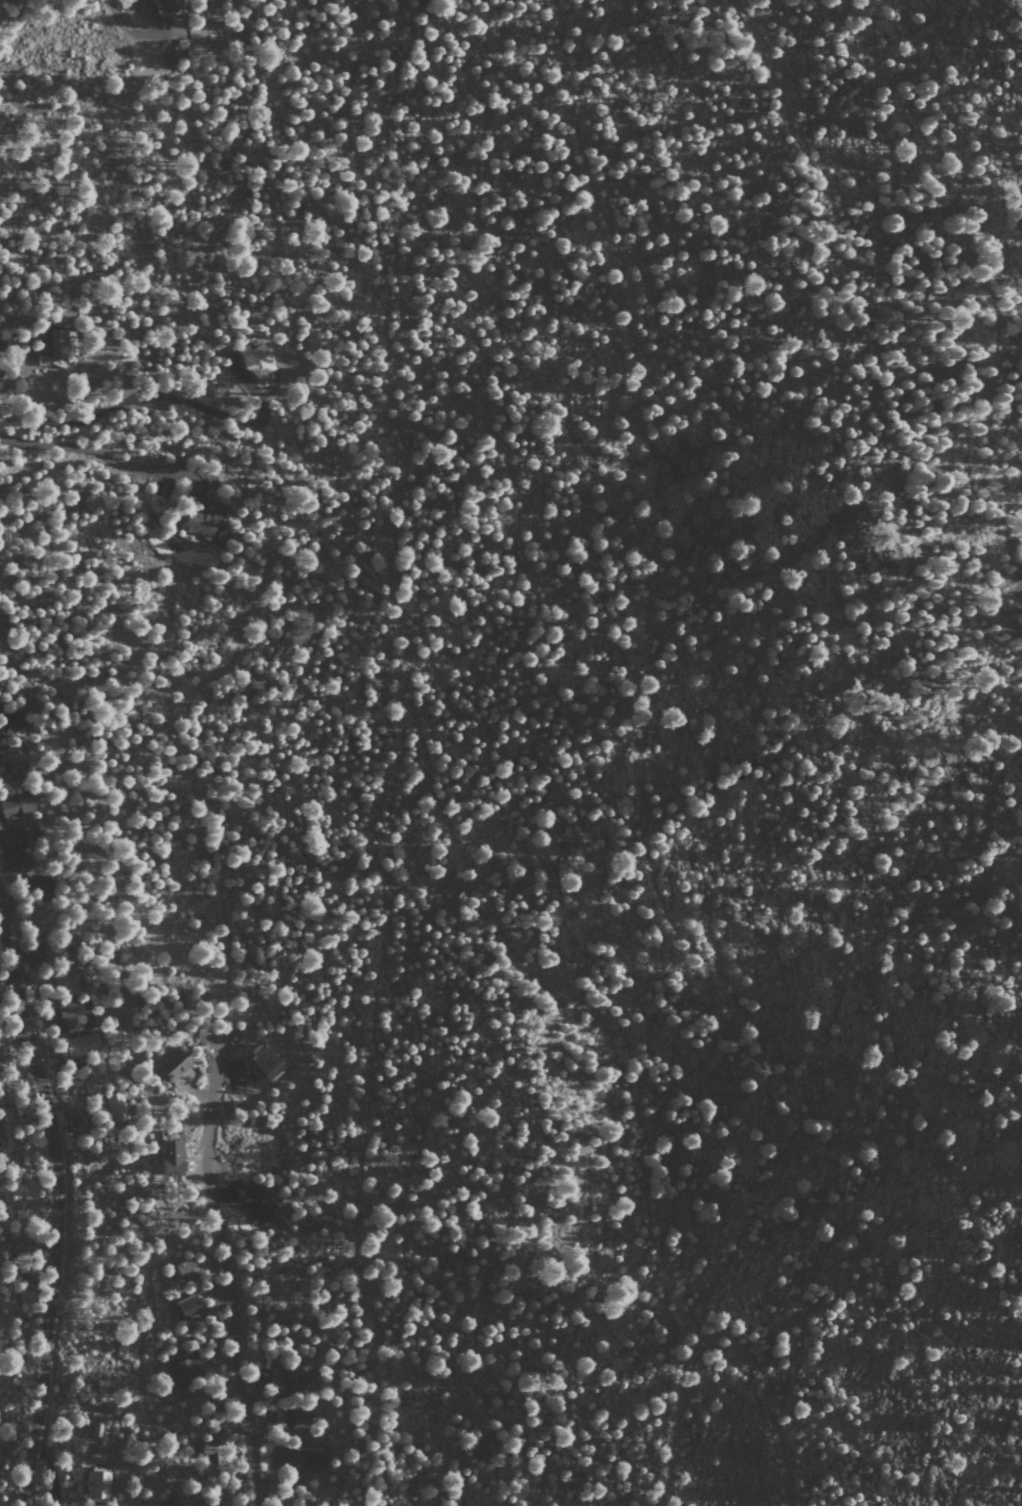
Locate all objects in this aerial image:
building: (173, 4)
road: (949, 243)
building: (63, 343)
building: (258, 359)
road: (89, 417)
road: (250, 424)
road: (104, 456)
building: (203, 520)
building: (11, 722)
building: (12, 762)
building: (16, 806)
road: (443, 807)
building: (15, 849)
building: (38, 885)
building: (66, 981)
building: (72, 1016)
building: (82, 1044)
building: (172, 1065)
building: (115, 1106)
building: (172, 1157)
building: (254, 1204)
road: (58, 1216)
building: (186, 1269)
road: (225, 1274)
building: (189, 1308)
building: (187, 1369)
building: (289, 1384)
building: (295, 1419)
building: (92, 1423)
building: (311, 1458)
building: (97, 1484)
building: (181, 1500)

